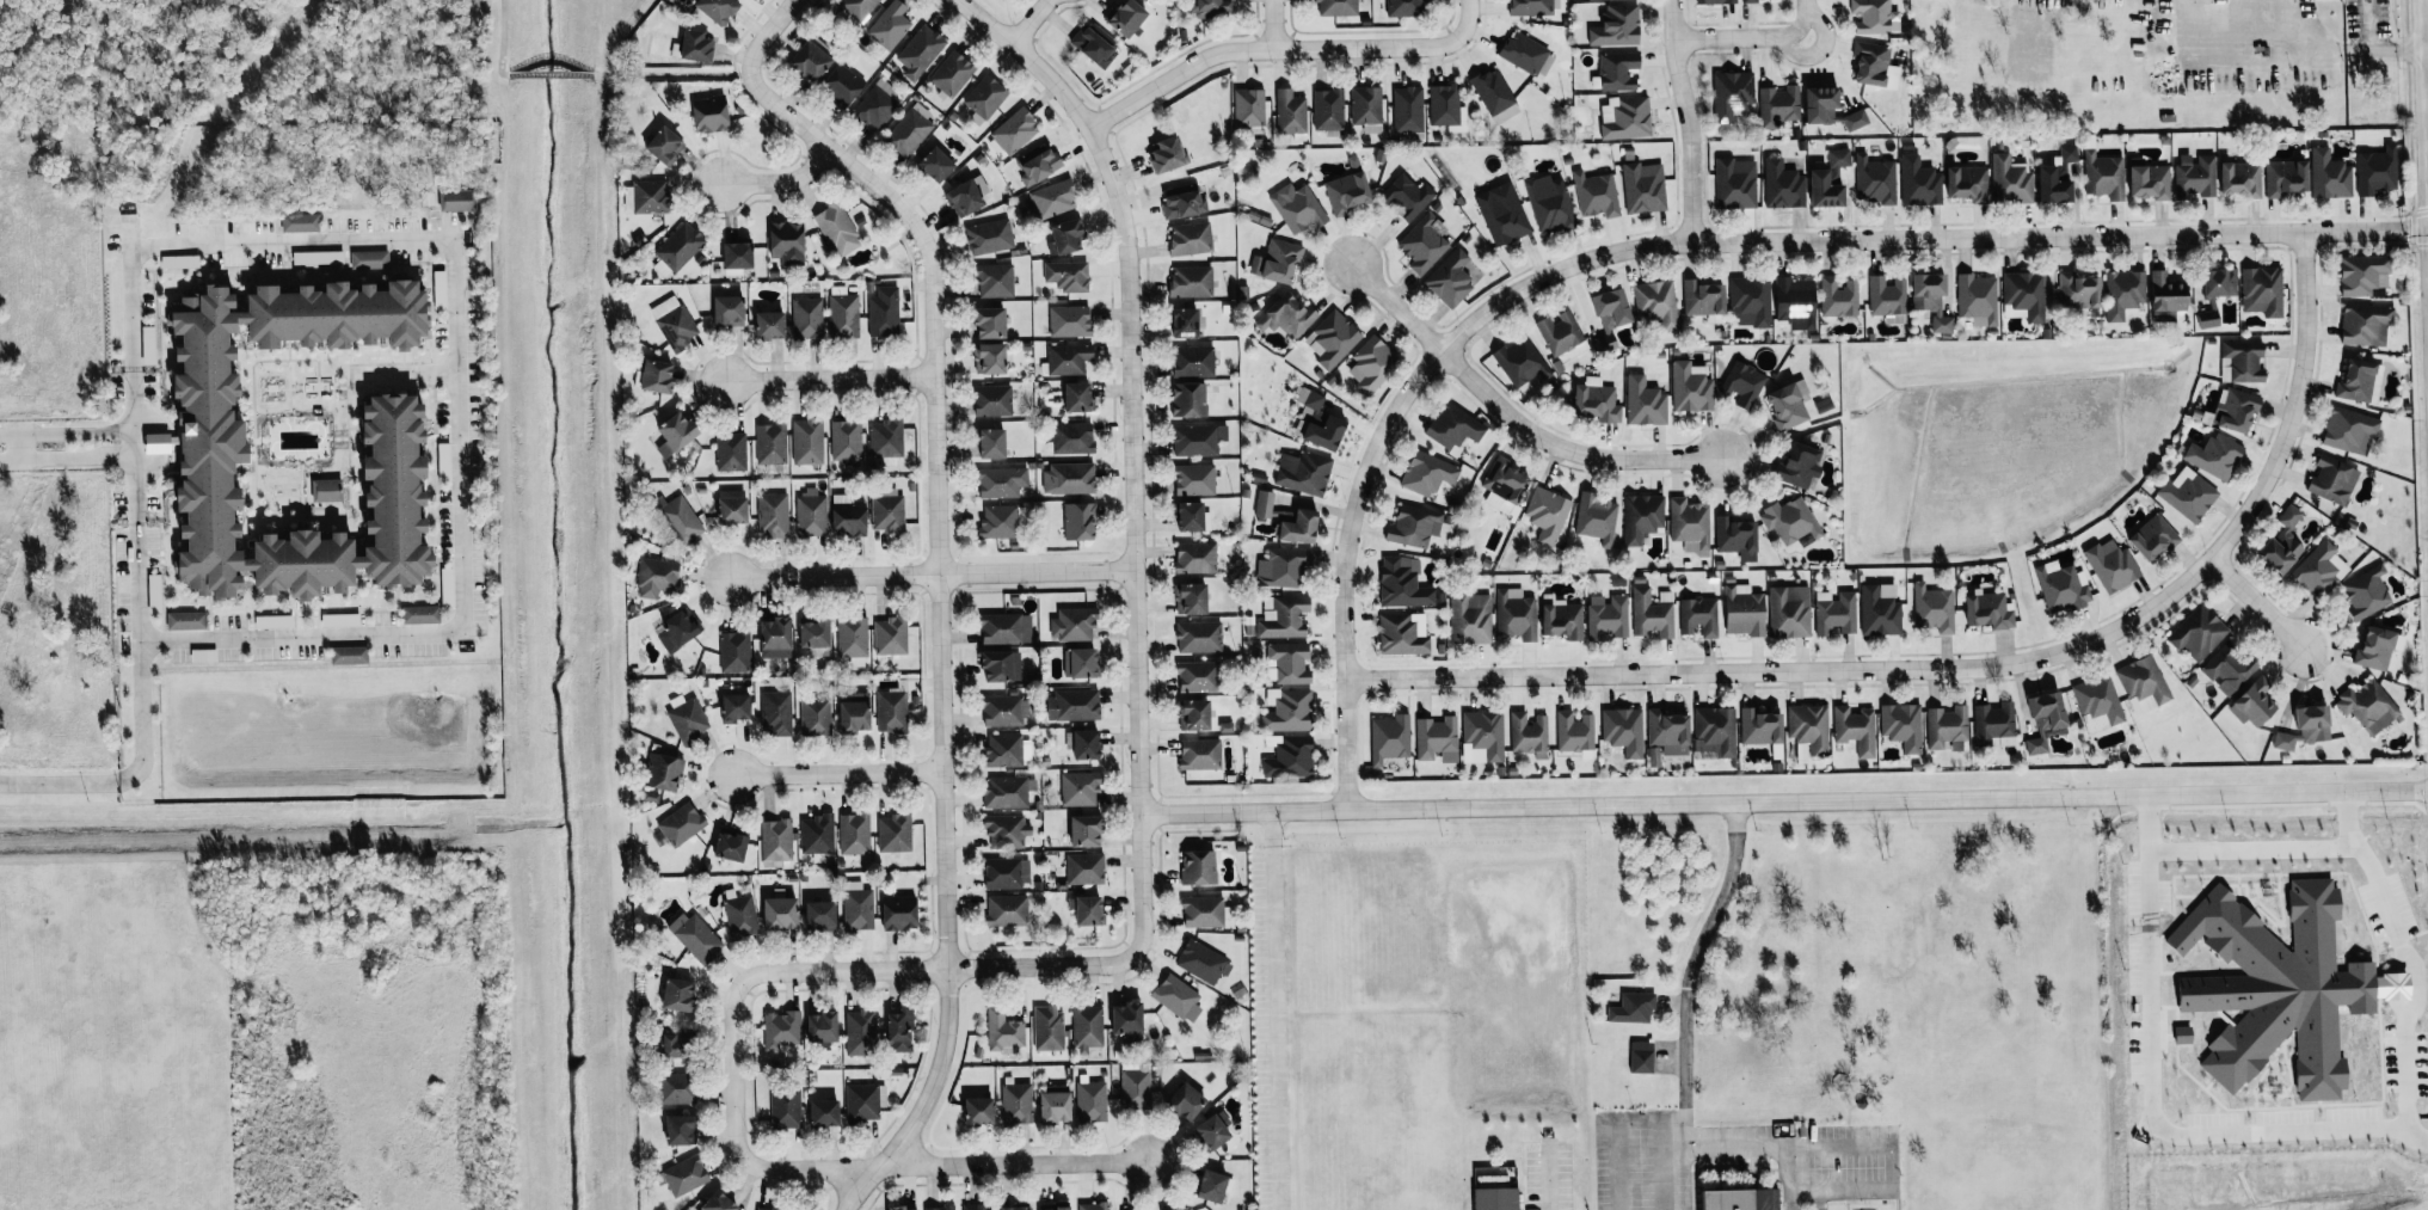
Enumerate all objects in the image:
building: (1747, 0)
building: (1715, 1)
building: (858, 7)
building: (1210, 7)
building: (1336, 7)
building: (1404, 7)
building: (1530, 7)
building: (717, 10)
building: (1870, 16)
building: (1125, 17)
road: (1806, 18)
road: (1029, 20)
road: (1467, 20)
road: (1272, 24)
building: (889, 25)
building: (1616, 26)
road: (766, 33)
road: (1741, 36)
building: (1093, 44)
building: (695, 45)
road: (2266, 45)
road: (1262, 49)
road: (2373, 50)
building: (920, 51)
building: (1524, 53)
building: (809, 62)
building: (1617, 70)
road: (589, 73)
building: (951, 73)
building: (841, 85)
building: (1731, 93)
building: (1494, 96)
building: (984, 98)
building: (875, 105)
building: (1777, 105)
building: (1366, 108)
building: (1446, 108)
building: (1248, 109)
building: (1328, 109)
building: (1407, 109)
building: (1827, 109)
building: (1290, 111)
building: (709, 113)
building: (1624, 117)
road: (1688, 119)
building: (909, 131)
building: (1013, 131)
building: (664, 146)
building: (1166, 154)
building: (935, 164)
building: (1038, 166)
building: (2375, 171)
building: (2103, 174)
building: (2329, 174)
building: (2194, 176)
building: (2055, 177)
building: (2239, 178)
building: (2283, 178)
road: (777, 179)
building: (1828, 179)
building: (1874, 180)
building: (2010, 180)
building: (2149, 182)
building: (1734, 183)
building: (1918, 183)
building: (1967, 183)
building: (1782, 185)
building: (1643, 188)
building: (1347, 191)
building: (1596, 194)
building: (650, 196)
building: (966, 196)
building: (1406, 196)
building: (1052, 198)
building: (455, 199)
building: (1182, 201)
building: (1549, 204)
building: (1297, 207)
building: (1501, 219)
building: (300, 222)
building: (836, 229)
building: (989, 237)
building: (1065, 237)
building: (1190, 238)
road: (297, 241)
road: (1676, 241)
building: (786, 242)
building: (1424, 242)
building: (676, 248)
building: (316, 257)
building: (736, 257)
building: (368, 259)
building: (178, 260)
building: (1276, 262)
building: (1067, 275)
building: (2362, 275)
building: (1452, 277)
building: (994, 280)
building: (1190, 281)
building: (2218, 282)
building: (440, 289)
building: (2077, 290)
building: (2262, 290)
building: (2024, 293)
building: (2122, 293)
building: (1838, 296)
building: (2165, 296)
building: (1702, 297)
building: (1887, 299)
building: (1977, 299)
building: (1930, 300)
building: (1750, 301)
building: (1656, 302)
building: (1795, 302)
building: (727, 309)
building: (883, 311)
building: (842, 315)
building: (1609, 315)
building: (1286, 317)
building: (806, 318)
building: (2206, 319)
building: (1069, 320)
building: (1184, 321)
building: (674, 323)
building: (988, 323)
building: (769, 324)
building: (2365, 324)
building: (1561, 334)
building: (1332, 339)
building: (147, 344)
building: (988, 358)
building: (1065, 358)
building: (1192, 361)
building: (1519, 361)
building: (2243, 361)
building: (1371, 364)
road: (404, 373)
building: (654, 376)
road: (828, 377)
building: (2359, 381)
building: (1742, 383)
building: (1690, 386)
building: (1076, 397)
building: (1188, 399)
building: (991, 400)
building: (1596, 400)
building: (1643, 401)
building: (1787, 404)
building: (2235, 409)
road: (1505, 412)
building: (1317, 423)
building: (1452, 425)
building: (2349, 431)
road: (66, 432)
building: (674, 434)
building: (1071, 437)
building: (193, 438)
building: (885, 438)
building: (846, 440)
building: (1197, 440)
building: (806, 441)
road: (133, 442)
building: (770, 443)
building: (990, 443)
road: (17, 446)
road: (1133, 450)
building: (730, 452)
road: (67, 454)
building: (2213, 455)
building: (443, 460)
building: (1799, 466)
building: (1303, 472)
building: (1427, 473)
building: (1068, 478)
building: (1193, 479)
building: (2331, 479)
building: (1505, 480)
building: (1001, 481)
building: (326, 490)
building: (2187, 493)
building: (1262, 503)
building: (731, 510)
building: (810, 512)
building: (887, 512)
building: (1547, 514)
building: (772, 515)
building: (847, 516)
building: (1191, 516)
building: (1640, 516)
building: (1596, 517)
building: (677, 518)
building: (998, 521)
building: (1078, 521)
building: (1790, 521)
building: (1689, 524)
building: (1295, 526)
building: (1413, 526)
building: (1735, 538)
building: (2152, 538)
building: (2281, 542)
building: (1194, 557)
building: (2110, 565)
building: (1283, 567)
building: (2319, 570)
road: (932, 573)
building: (656, 577)
building: (1402, 583)
building: (2060, 586)
building: (153, 592)
building: (2365, 592)
road: (2256, 595)
building: (1190, 598)
building: (1932, 608)
building: (1879, 609)
building: (1987, 609)
building: (1742, 610)
building: (1788, 610)
building: (1652, 613)
building: (1834, 613)
building: (419, 614)
building: (1514, 614)
building: (1698, 615)
building: (1283, 616)
building: (1606, 616)
road: (939, 618)
building: (1469, 618)
building: (339, 619)
building: (1561, 619)
building: (185, 620)
building: (272, 621)
building: (1072, 624)
building: (678, 628)
building: (1004, 628)
road: (370, 632)
building: (2196, 633)
building: (852, 635)
building: (890, 635)
building: (1400, 635)
building: (813, 637)
building: (1198, 637)
building: (774, 638)
building: (2374, 647)
building: (733, 651)
building: (348, 655)
building: (1080, 662)
building: (1286, 663)
road: (1966, 663)
building: (1001, 665)
building: (2227, 668)
building: (1197, 676)
building: (2143, 683)
building: (2097, 702)
building: (2252, 702)
building: (1071, 705)
building: (2367, 706)
building: (734, 707)
building: (1004, 710)
building: (1286, 710)
building: (891, 711)
road: (140, 712)
building: (853, 712)
building: (775, 713)
building: (1192, 714)
building: (815, 717)
building: (687, 718)
building: (2043, 719)
building: (1901, 725)
building: (1759, 726)
building: (1808, 726)
building: (2305, 727)
building: (1715, 729)
building: (1855, 729)
building: (1947, 729)
building: (1622, 730)
building: (1573, 731)
building: (1667, 731)
building: (1528, 735)
building: (1481, 736)
building: (1389, 738)
building: (1436, 739)
building: (1084, 744)
building: (1007, 749)
building: (1199, 754)
building: (1290, 757)
building: (662, 772)
road: (834, 774)
road: (59, 779)
building: (1078, 788)
building: (1007, 791)
road: (1784, 801)
building: (681, 823)
building: (1006, 830)
building: (1084, 830)
building: (854, 833)
building: (893, 833)
building: (816, 834)
building: (775, 840)
building: (730, 846)
road: (2221, 852)
building: (1198, 867)
building: (1083, 868)
building: (1006, 872)
building: (856, 905)
building: (1006, 910)
building: (1086, 910)
building: (1201, 911)
building: (779, 913)
building: (898, 913)
building: (818, 915)
building: (740, 916)
building: (695, 936)
building: (1200, 960)
road: (1688, 962)
road: (2411, 964)
road: (935, 968)
building: (2278, 987)
building: (676, 995)
building: (1176, 997)
building: (1631, 1007)
road: (1271, 1011)
building: (1126, 1021)
building: (820, 1026)
building: (1086, 1027)
building: (780, 1028)
building: (1047, 1028)
building: (1002, 1030)
building: (898, 1031)
building: (860, 1032)
building: (2181, 1038)
building: (671, 1045)
building: (1640, 1057)
road: (732, 1074)
building: (675, 1088)
building: (1135, 1088)
building: (1090, 1101)
building: (1185, 1101)
building: (861, 1102)
building: (1015, 1104)
building: (1053, 1104)
building: (785, 1107)
building: (978, 1111)
building: (823, 1112)
road: (1646, 1123)
building: (680, 1129)
building: (1212, 1130)
road: (1801, 1147)
road: (955, 1165)
building: (684, 1174)
road: (1543, 1175)
building: (1212, 1185)
road: (1821, 1190)
building: (1494, 1198)
building: (1739, 1199)
building: (718, 1202)
building: (1093, 1205)
building: (976, 1206)
building: (897, 1208)
building: (939, 1208)
building: (1014, 1208)
building: (1182, 1208)
building: (767, 1209)
building: (1053, 1209)

